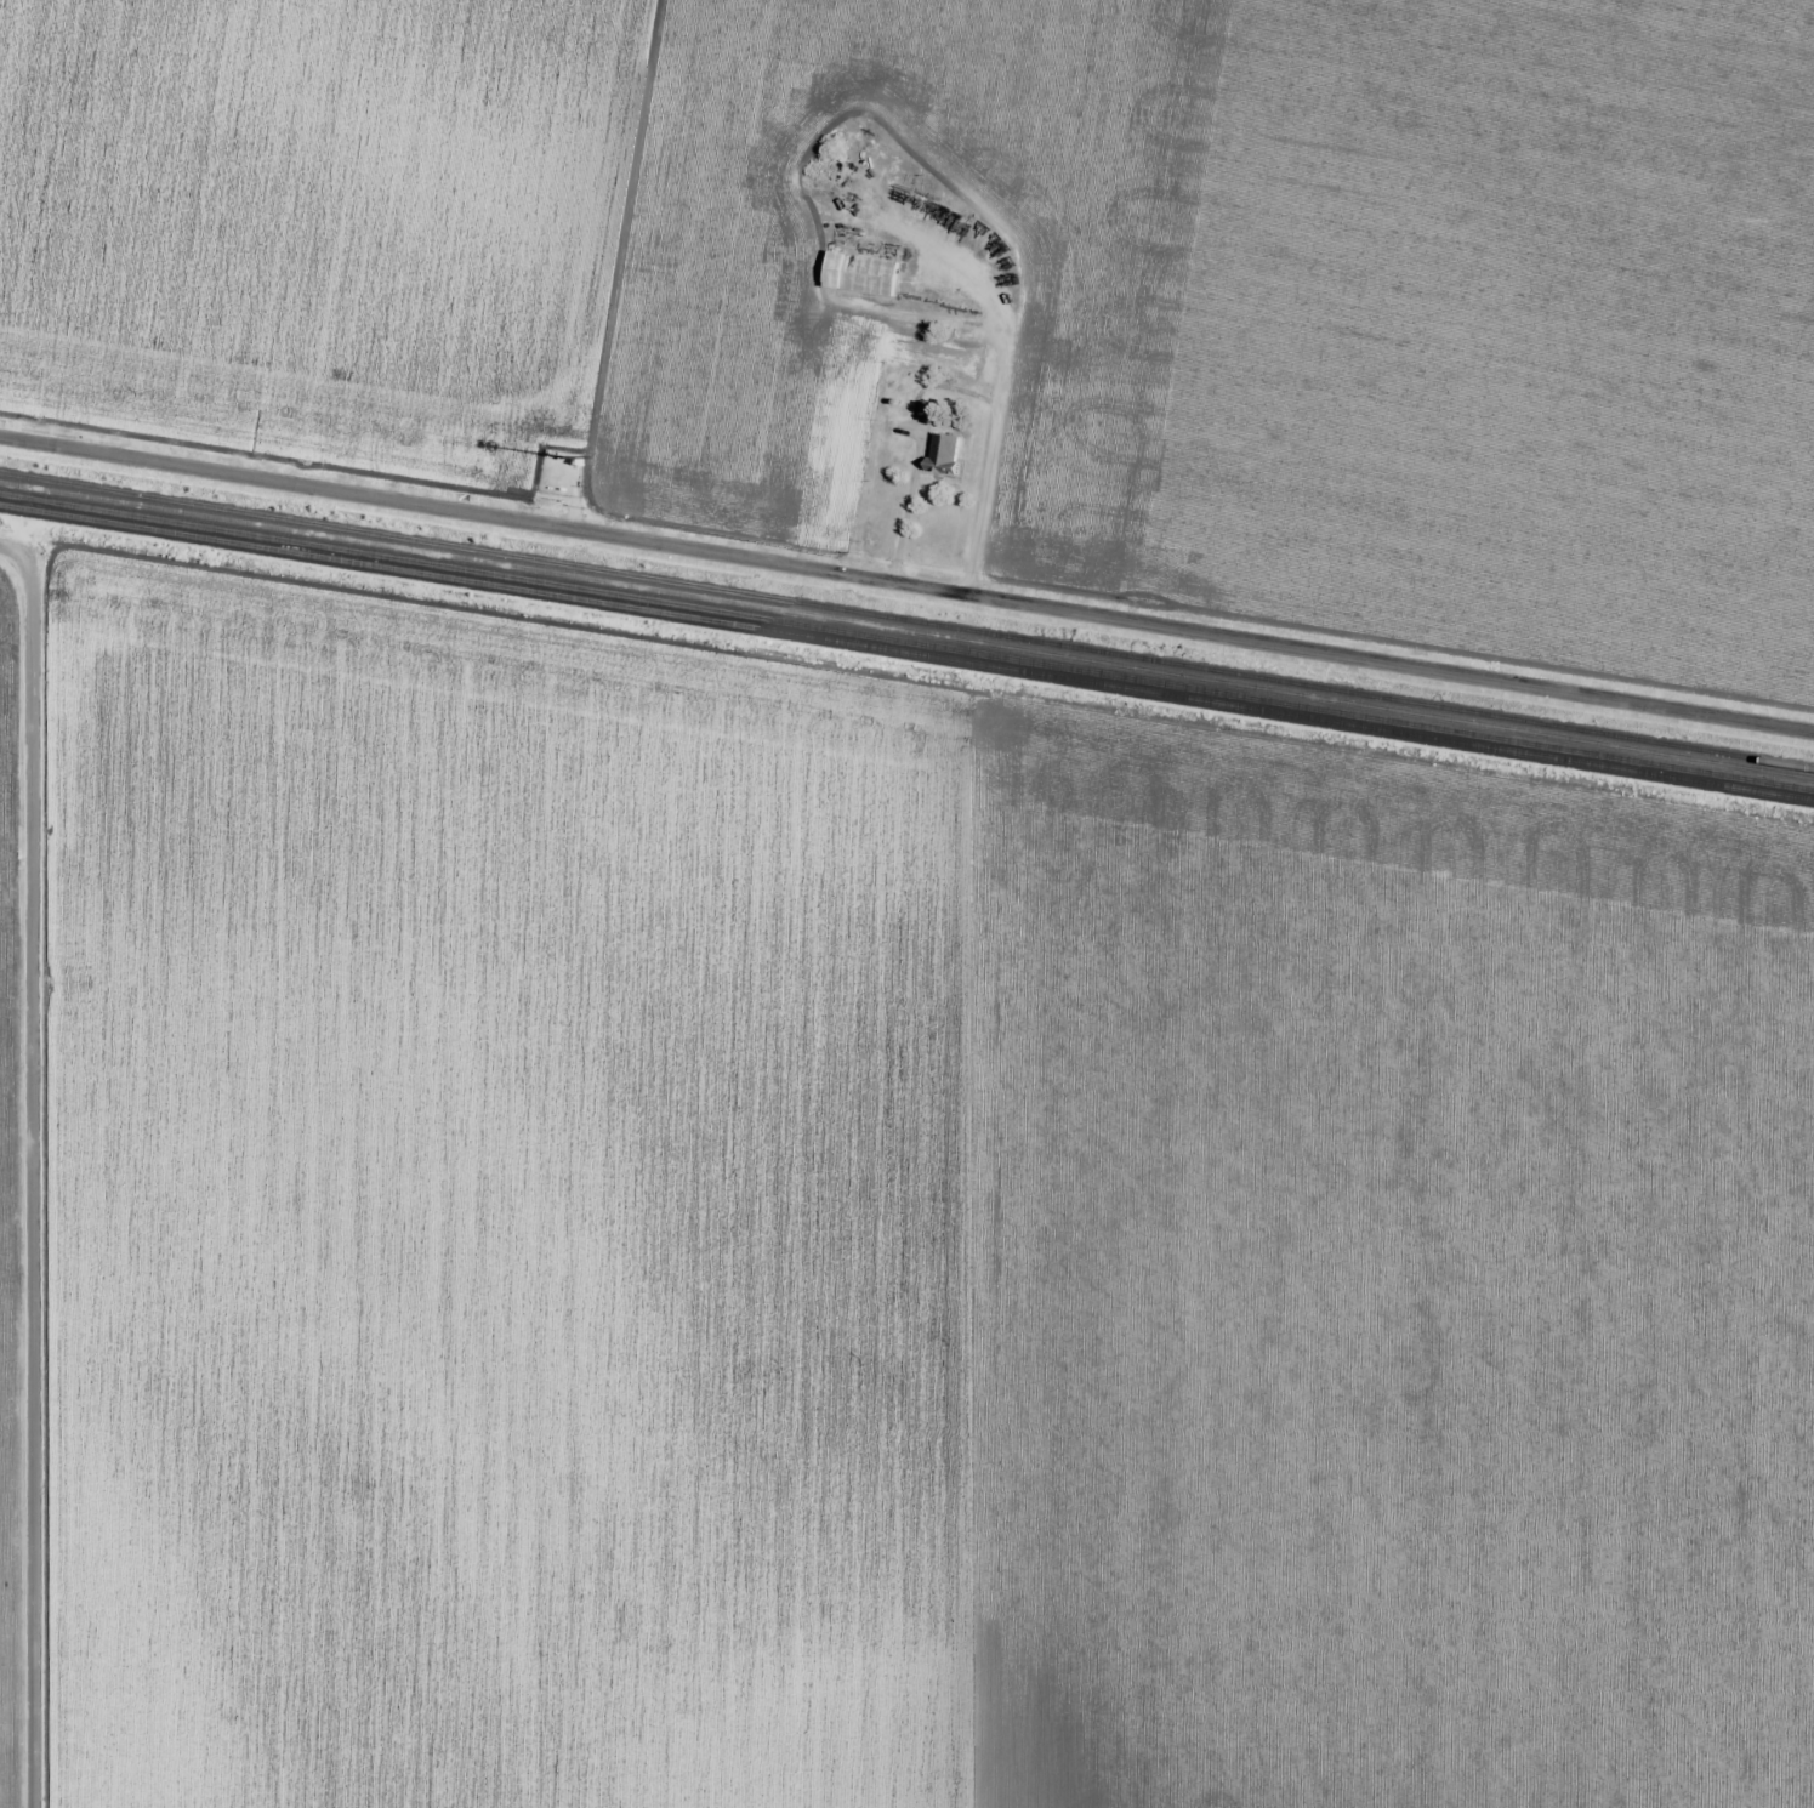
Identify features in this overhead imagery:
building: (845, 266)
crop: (433, 332)
building: (949, 454)
road: (906, 585)
railway: (906, 625)
railway: (906, 639)
road: (38, 1169)

